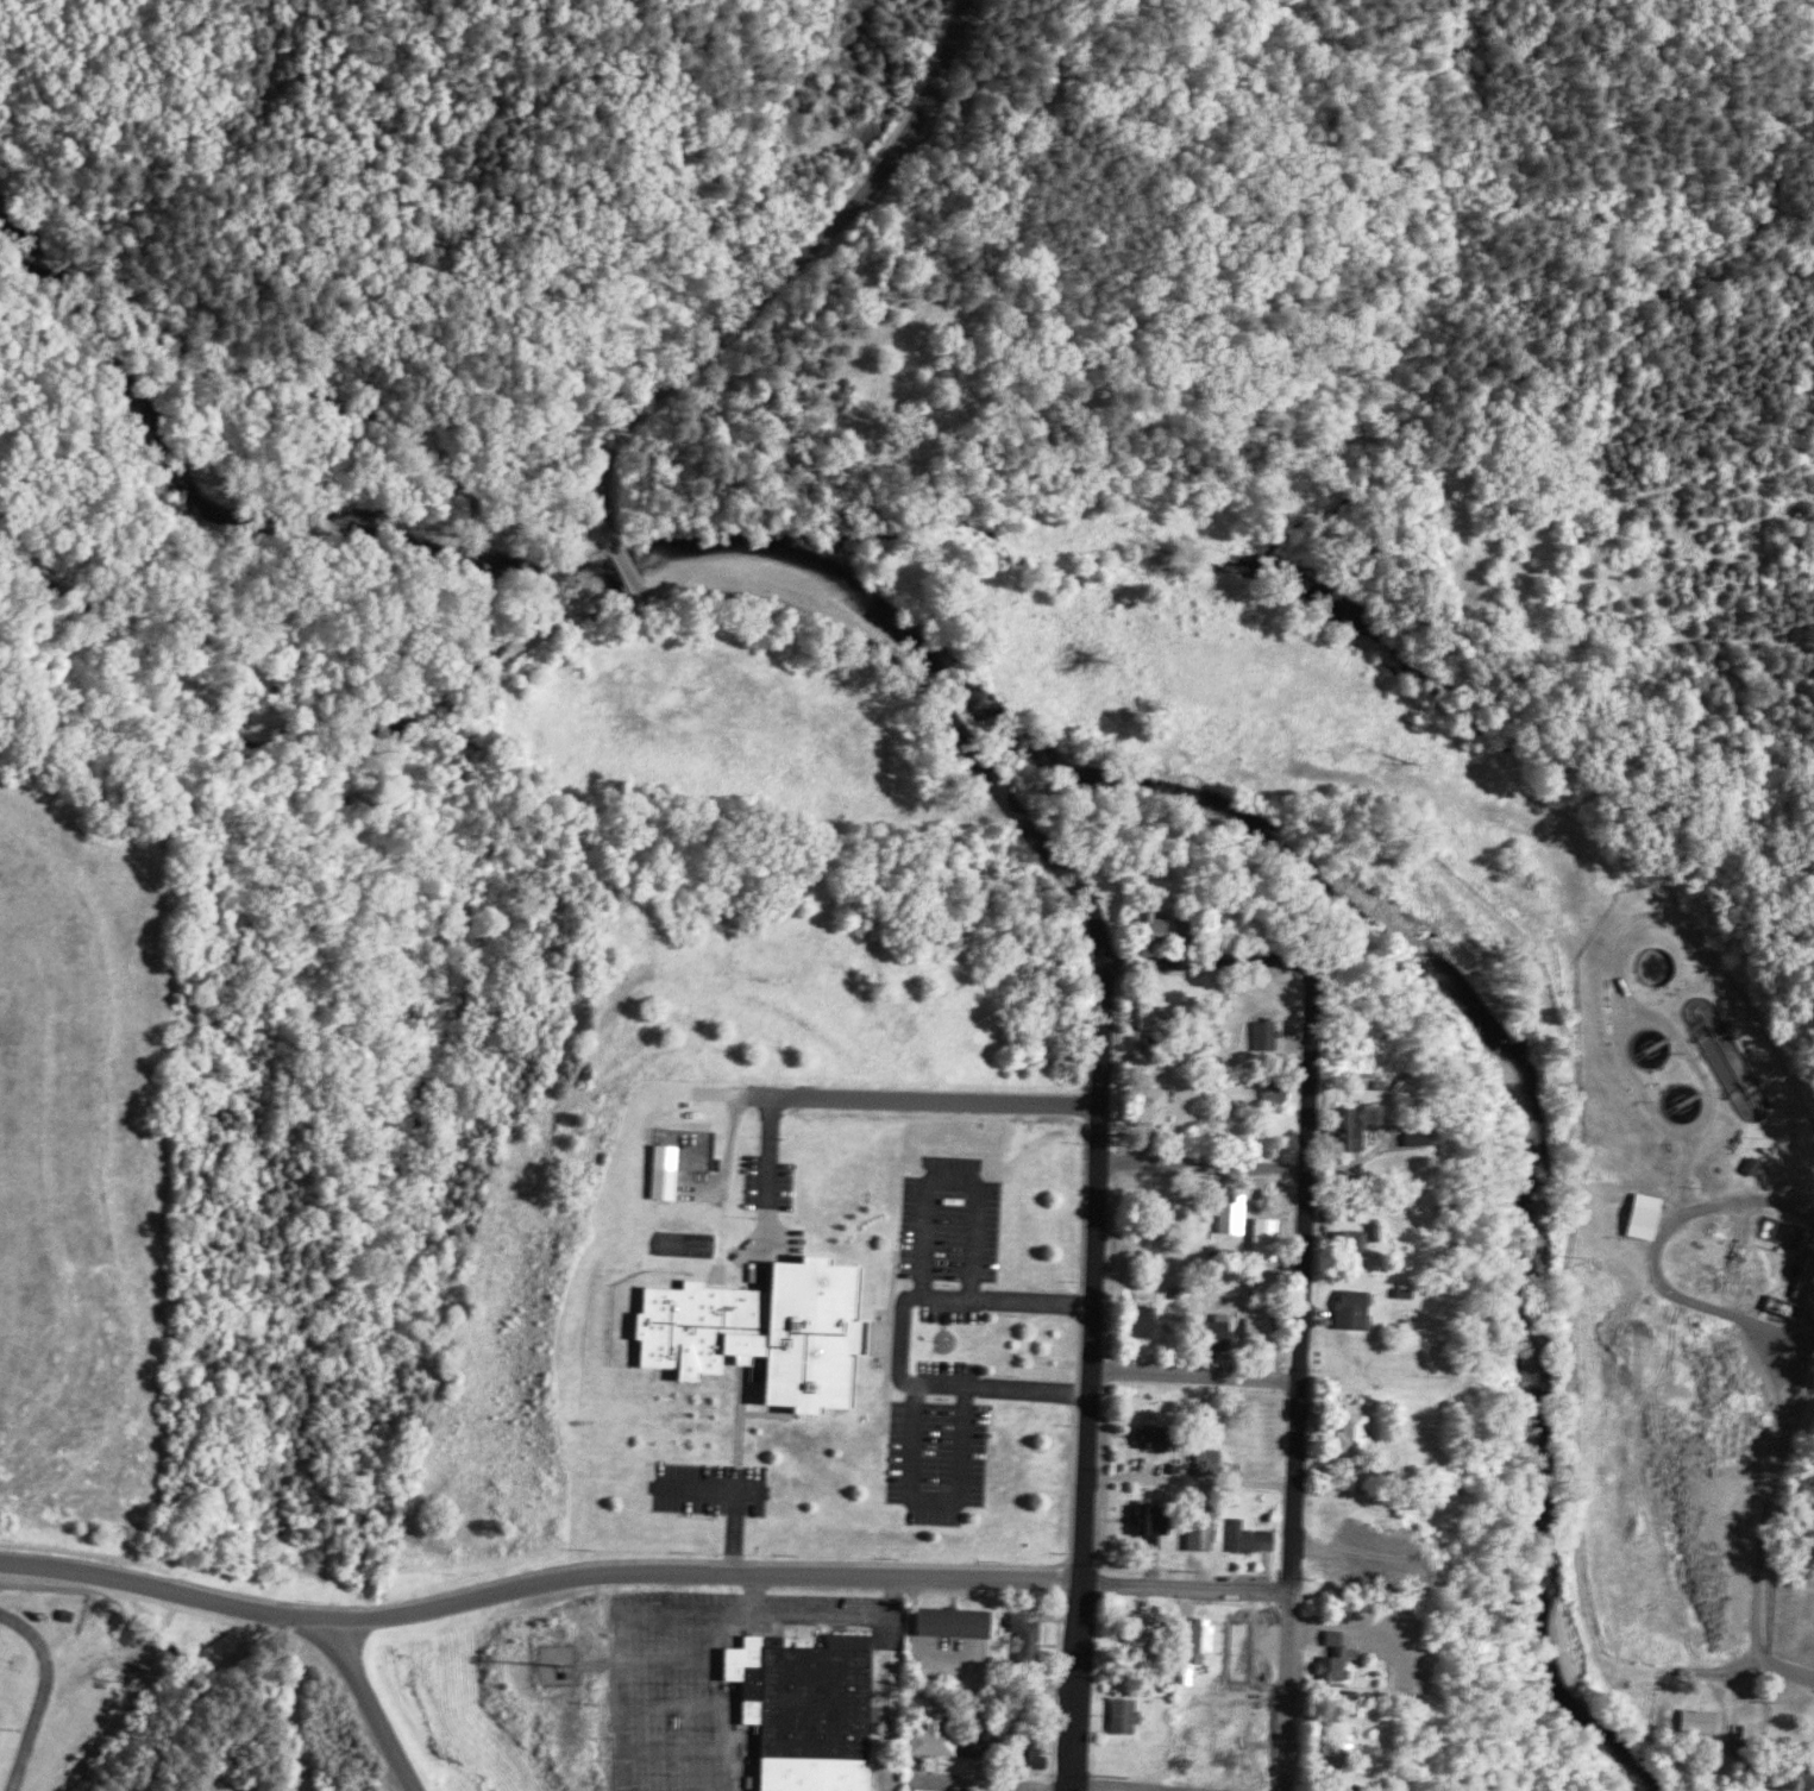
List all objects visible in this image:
road: (638, 410)
road: (1073, 911)
building: (1154, 920)
road: (1207, 964)
building: (1155, 1018)
building: (1269, 1035)
building: (1281, 1089)
road: (923, 1098)
building: (1156, 1105)
road: (774, 1125)
building: (1350, 1130)
building: (1419, 1135)
road: (1200, 1165)
building: (1755, 1165)
building: (666, 1170)
road: (953, 1181)
parking lot: (770, 1182)
building: (1238, 1213)
building: (1646, 1215)
parking lot: (949, 1221)
building: (1270, 1238)
building: (1356, 1240)
building: (689, 1243)
road: (1094, 1264)
building: (1808, 1282)
building: (1354, 1308)
parking lot: (954, 1313)
building: (1140, 1319)
road: (1765, 1322)
building: (1261, 1327)
building: (753, 1330)
building: (1220, 1332)
road: (904, 1337)
parking lot: (954, 1368)
road: (1192, 1376)
road: (1294, 1382)
building: (1356, 1422)
building: (1151, 1434)
parking lot: (942, 1458)
building: (1211, 1459)
road: (1117, 1478)
parking lot: (714, 1489)
road: (940, 1501)
building: (1155, 1525)
building: (1204, 1529)
building: (1253, 1537)
road: (736, 1544)
road: (535, 1581)
road: (1081, 1581)
road: (1182, 1592)
road: (837, 1613)
building: (956, 1621)
building: (1029, 1635)
building: (1140, 1638)
building: (1203, 1639)
building: (1339, 1657)
road: (685, 1659)
road: (1781, 1666)
building: (1191, 1672)
building: (811, 1697)
road: (374, 1708)
building: (1128, 1715)
building: (1701, 1720)
building: (935, 1739)
building: (971, 1746)
building: (1032, 1753)
building: (808, 1773)
building: (1808, 1773)
road: (967, 1785)

